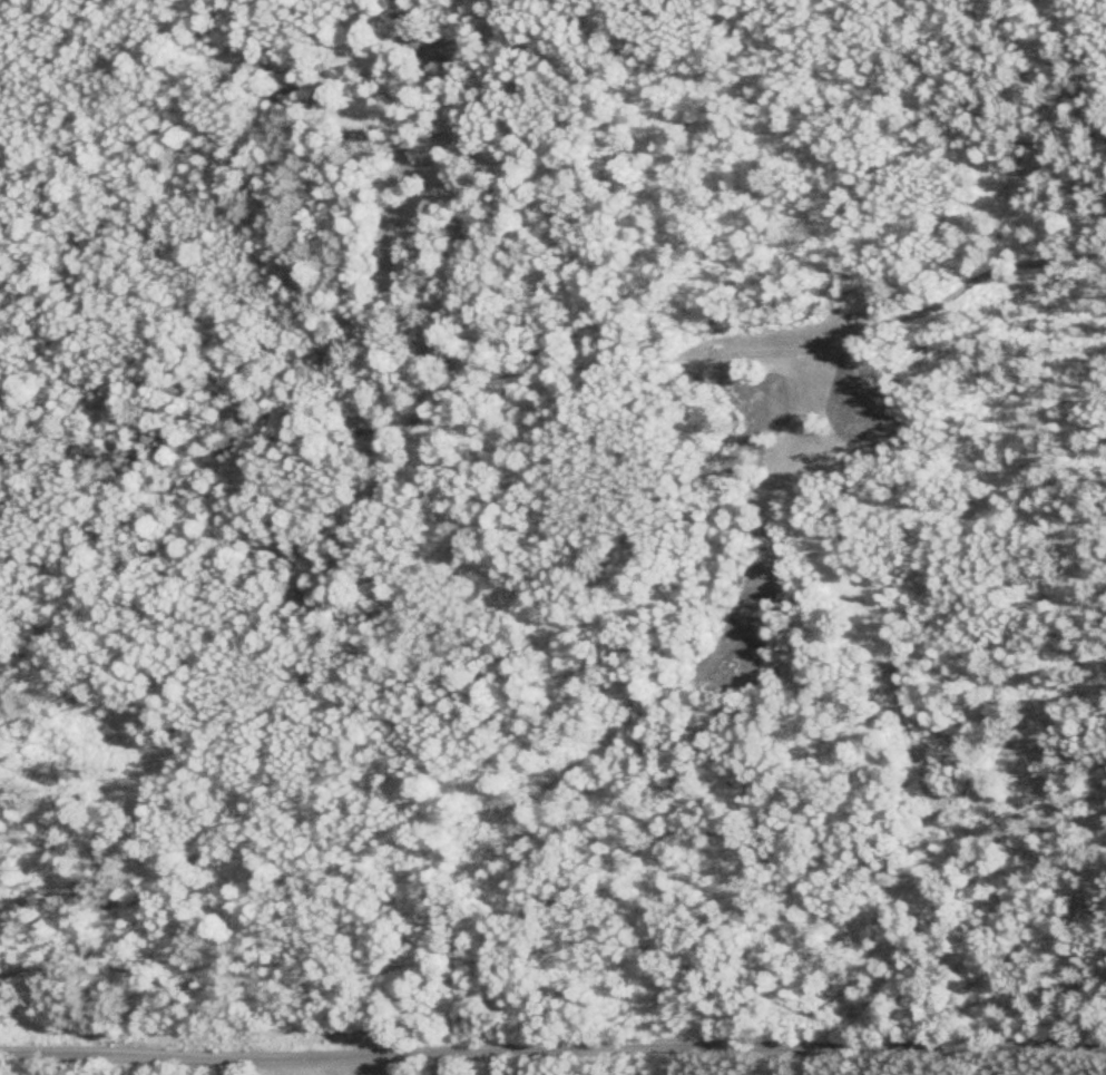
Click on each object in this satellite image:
road: (552, 1023)
road: (193, 1047)

